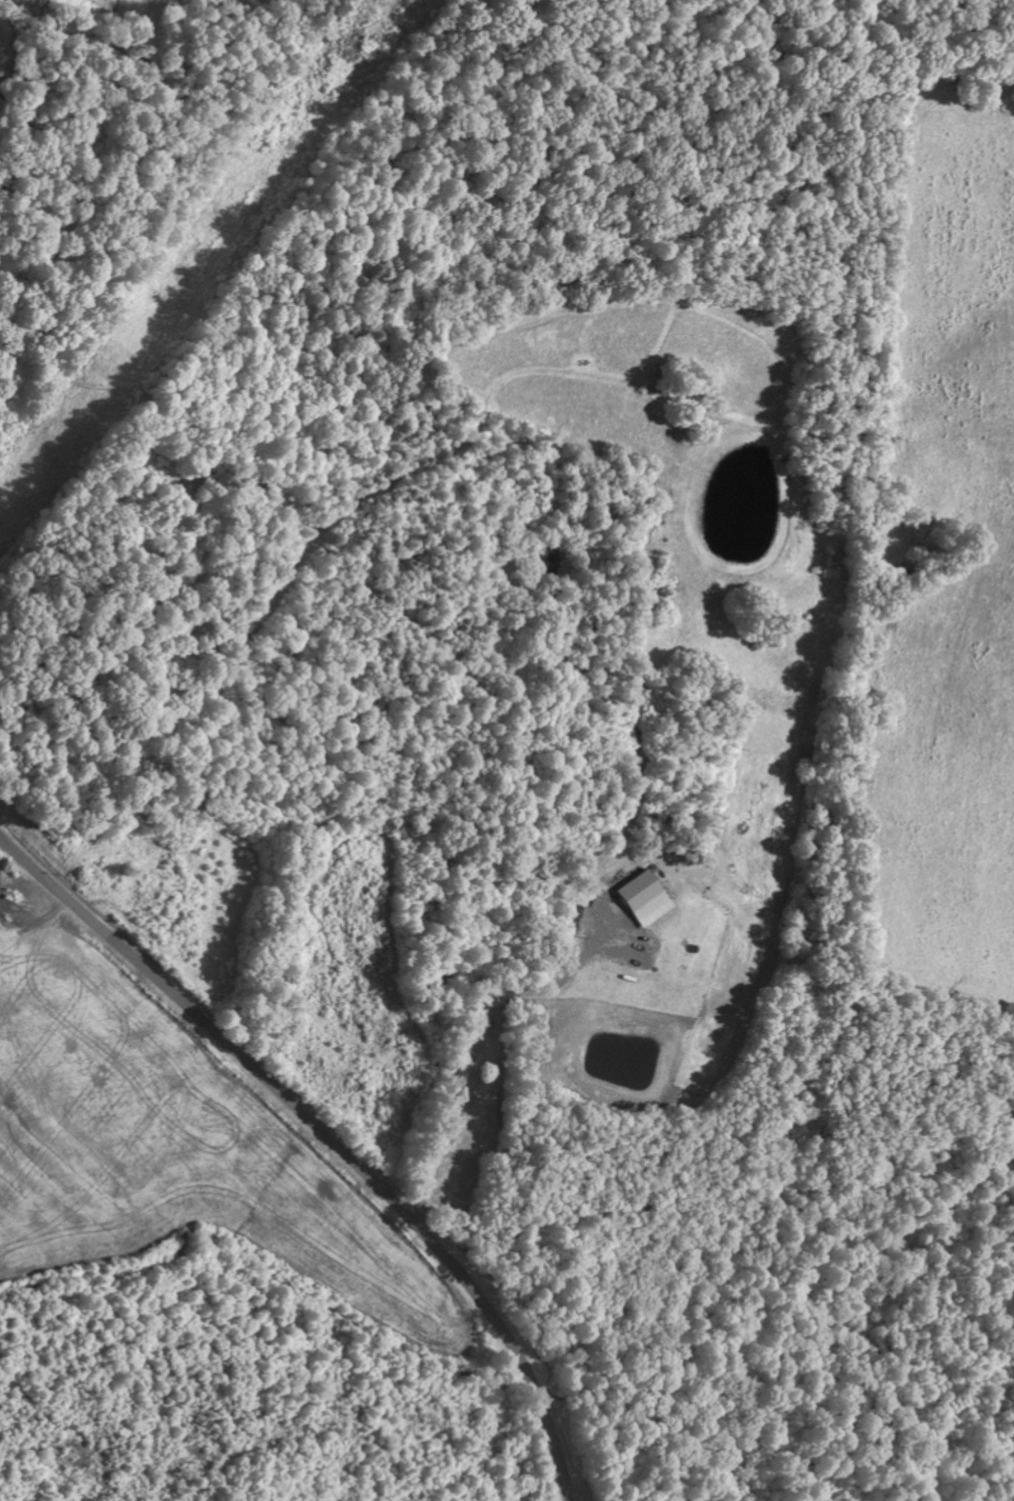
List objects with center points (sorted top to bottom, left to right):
building: (642, 894)
road: (324, 1137)

